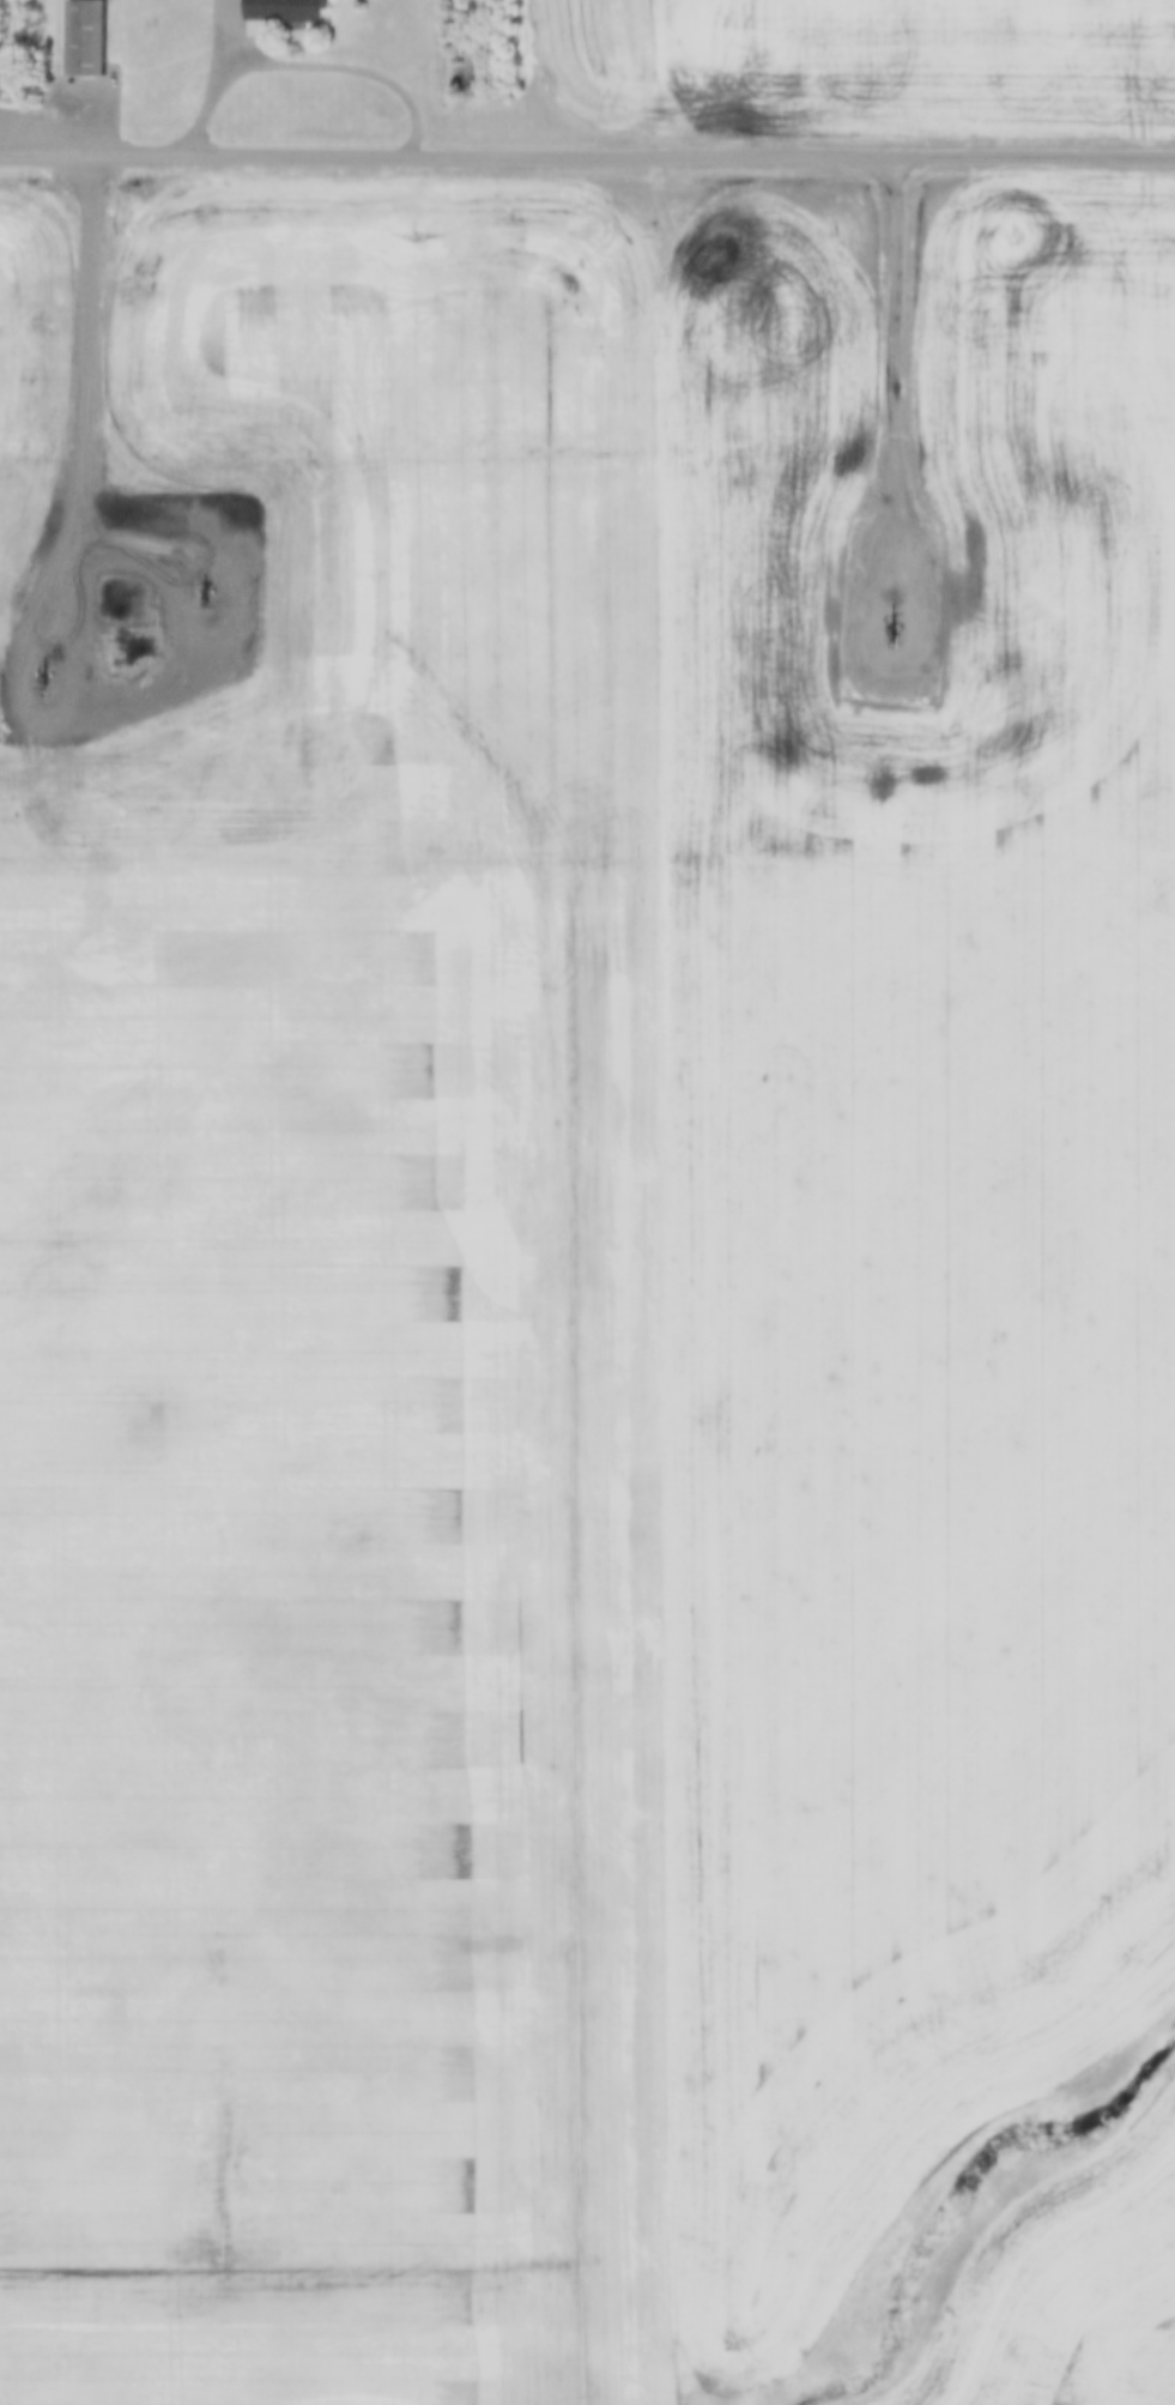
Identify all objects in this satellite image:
building: (283, 10)
building: (84, 36)
road: (307, 54)
road: (587, 146)
road: (897, 340)

